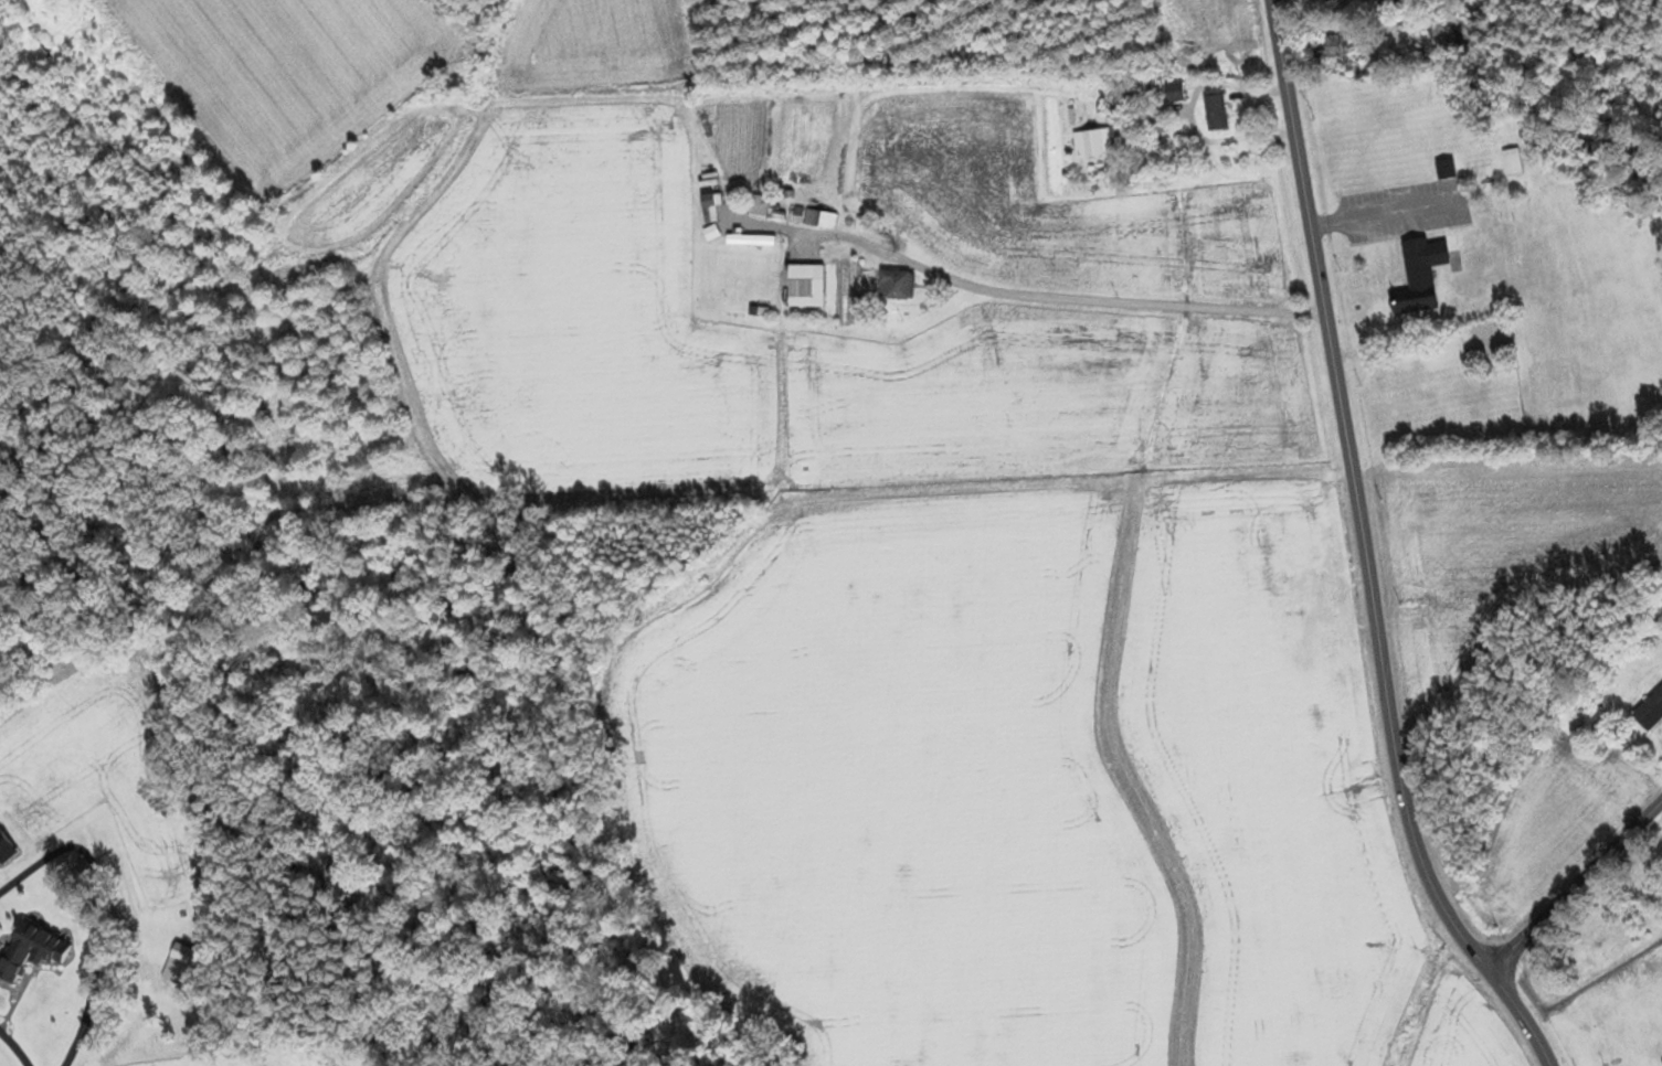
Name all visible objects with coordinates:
building: (1441, 38)
building: (1331, 46)
building: (1175, 93)
building: (1216, 113)
building: (1098, 143)
building: (1512, 162)
building: (1446, 169)
building: (759, 205)
building: (710, 207)
building: (821, 218)
building: (751, 238)
building: (1420, 276)
building: (806, 285)
building: (897, 285)
road: (1005, 289)
road: (1356, 495)
building: (1651, 711)
road: (1575, 888)
building: (32, 949)
building: (178, 971)
road: (70, 991)
road: (1520, 1019)
road: (32, 1065)

